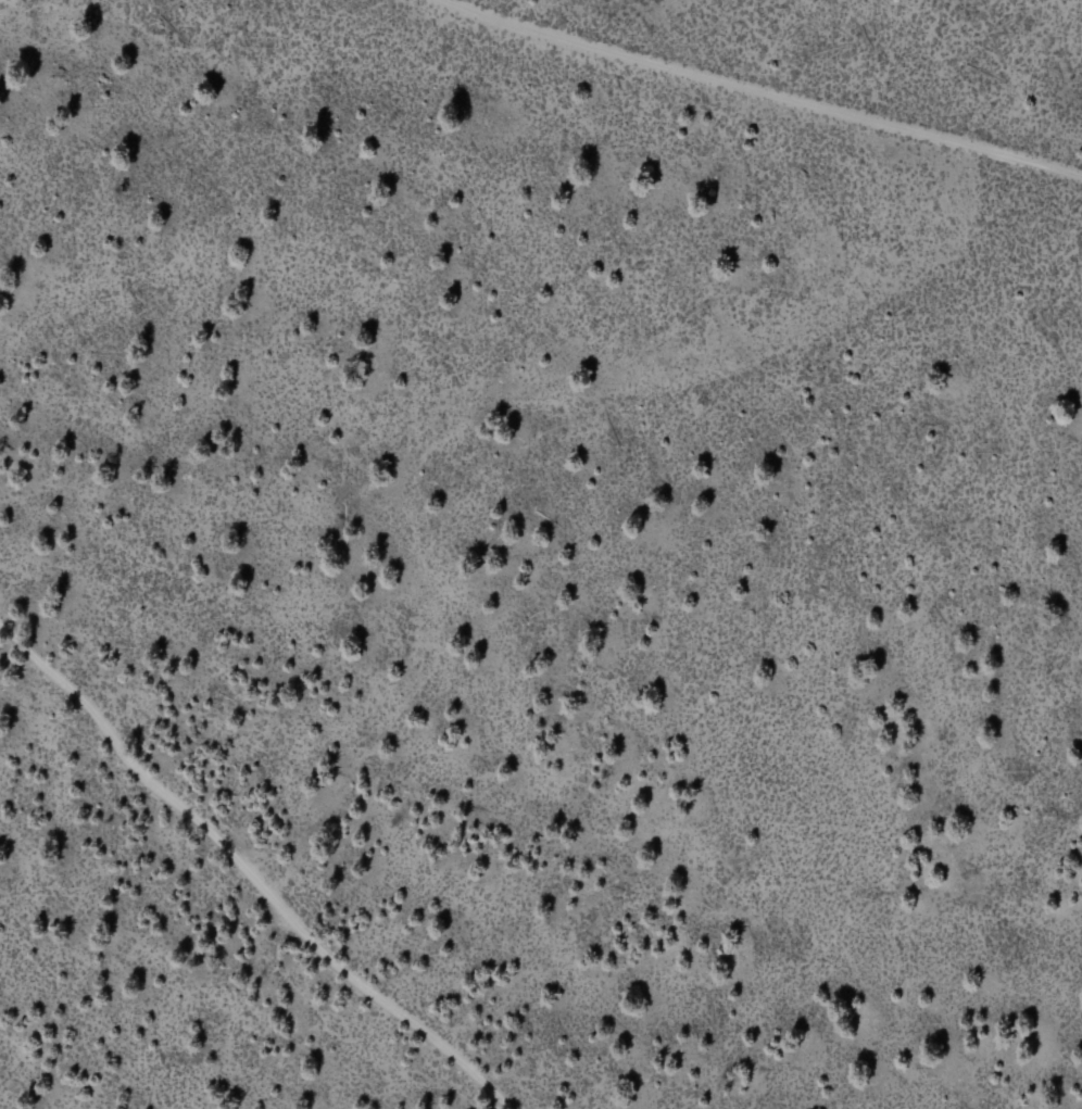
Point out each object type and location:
road: (750, 97)
road: (542, 408)
road: (251, 874)
road: (98, 972)
road: (4, 1071)

